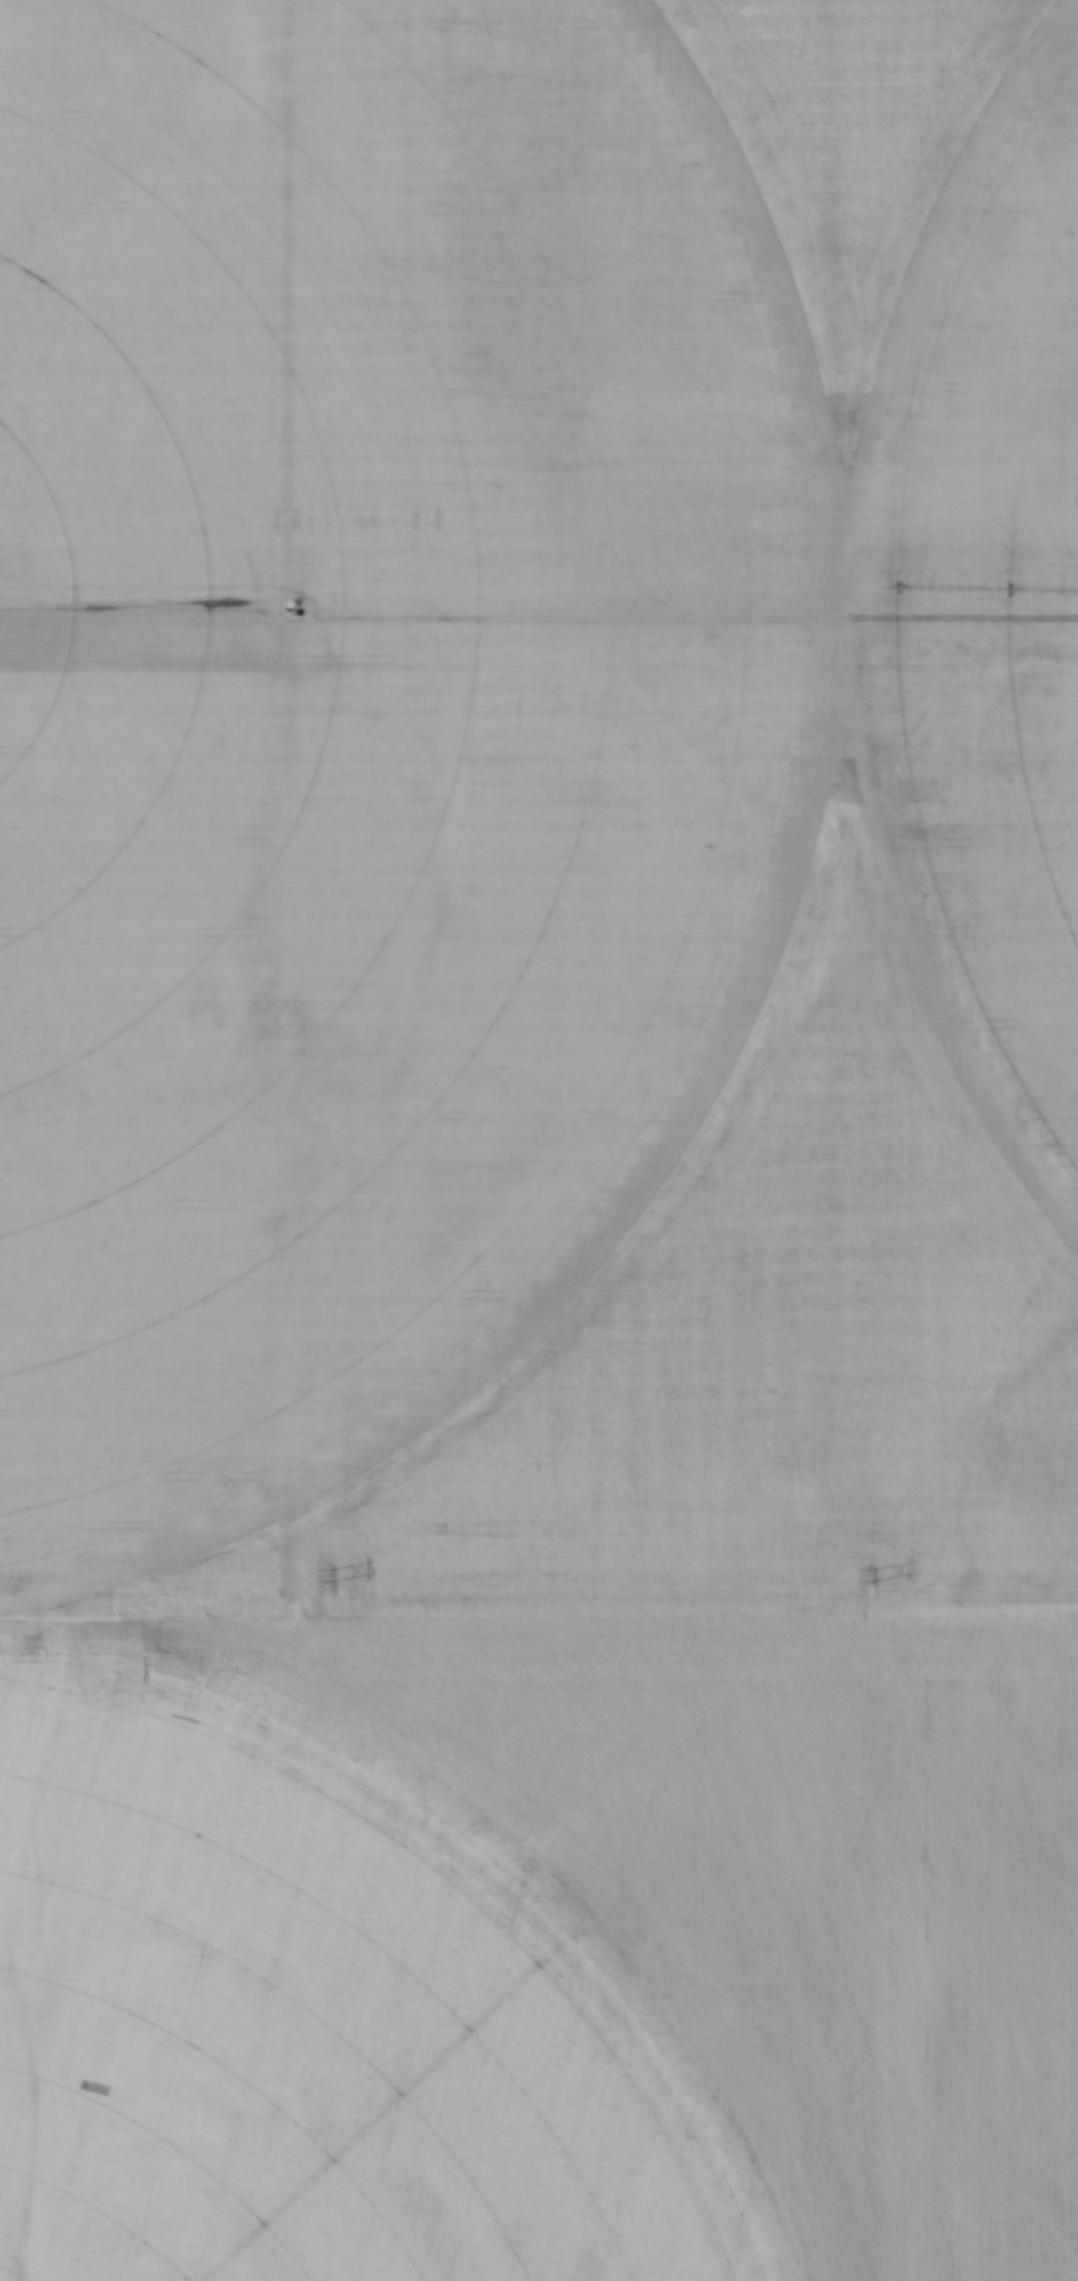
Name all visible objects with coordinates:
power tower: (337, 1576)
power tower: (875, 1578)

